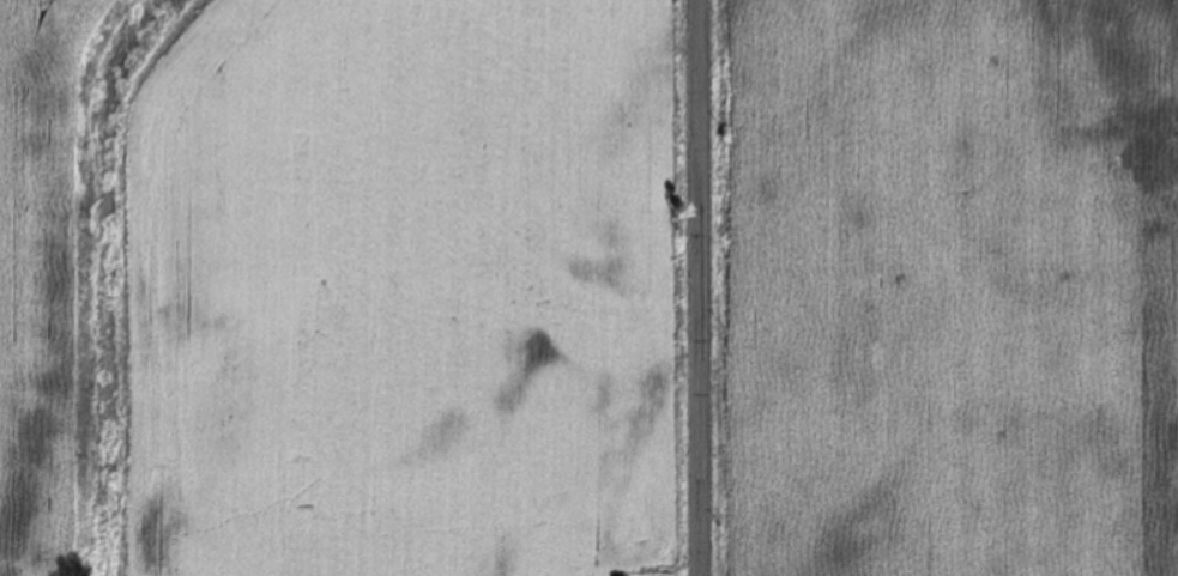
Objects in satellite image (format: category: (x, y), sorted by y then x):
road: (701, 287)

